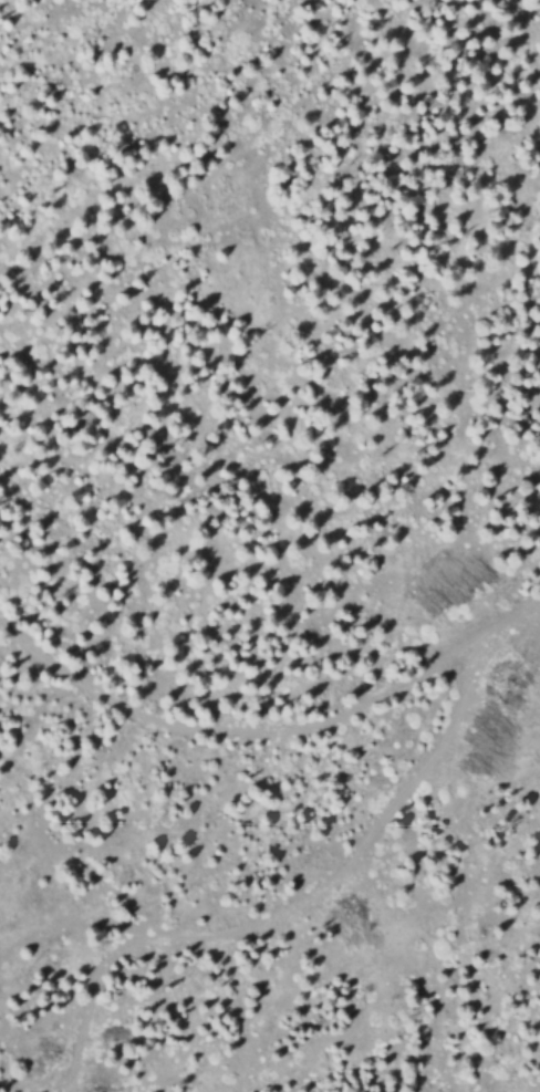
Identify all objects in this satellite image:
road: (272, 730)

